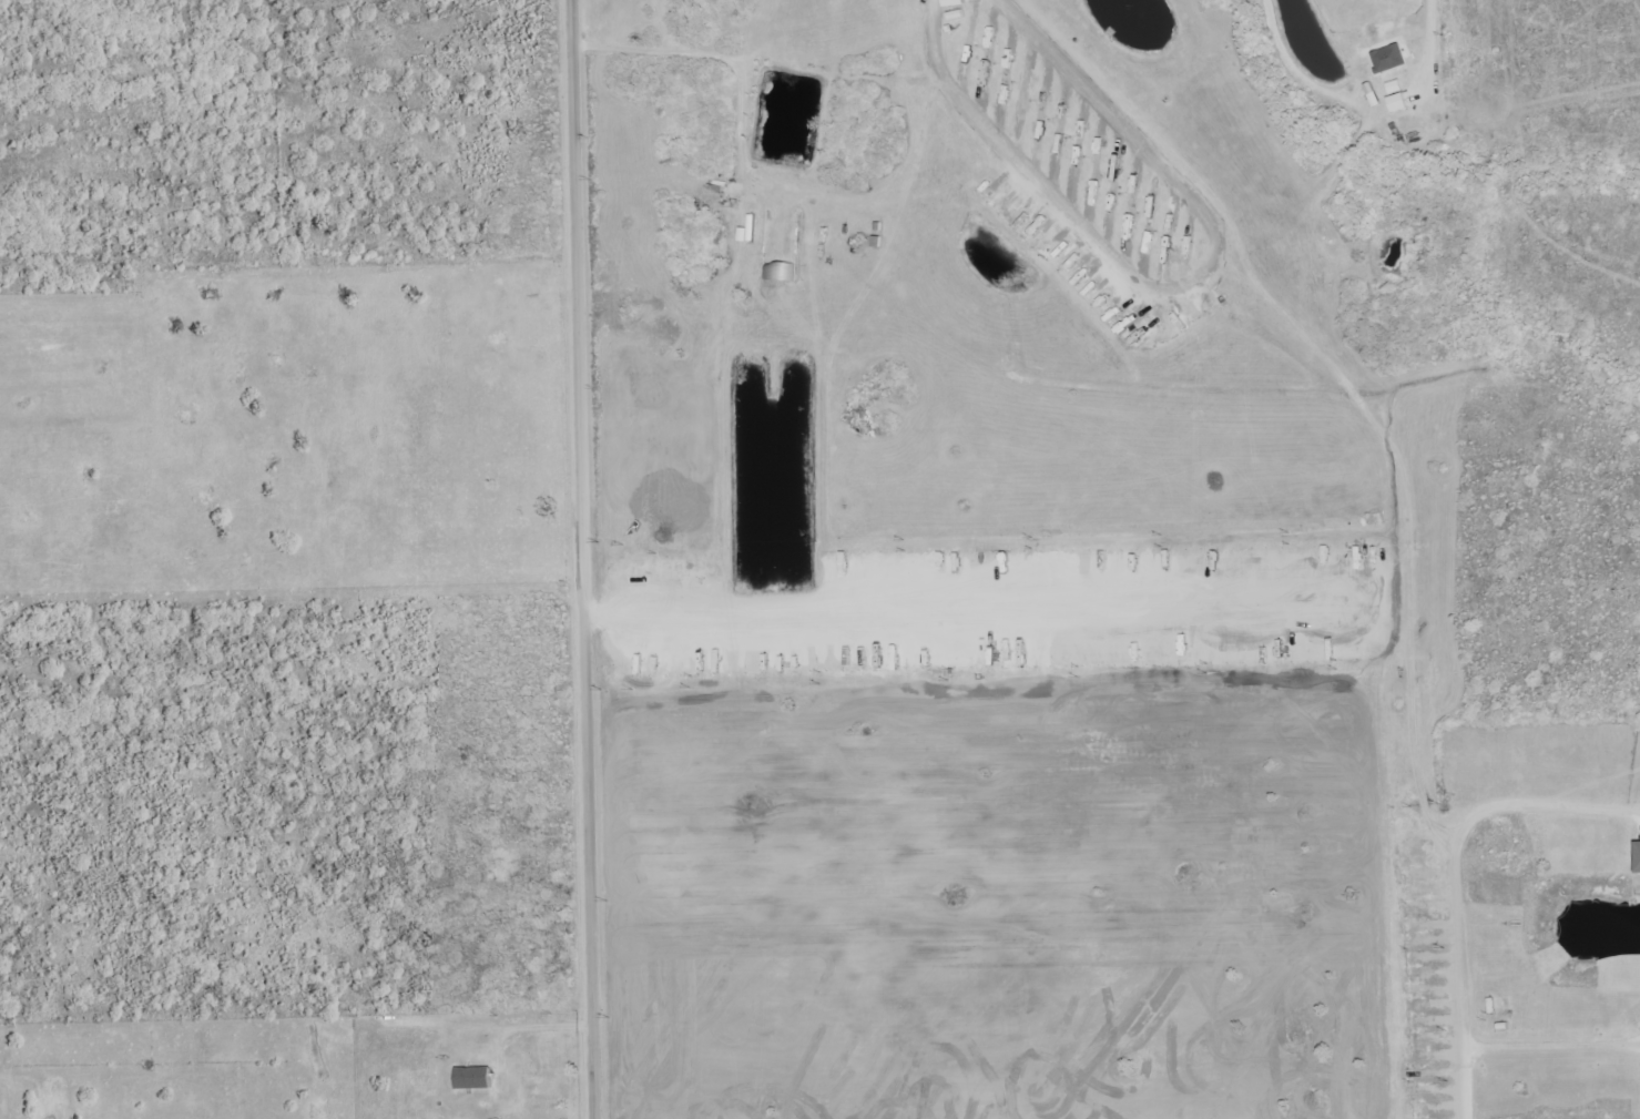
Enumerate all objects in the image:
building: (953, 3)
building: (1389, 59)
building: (1394, 88)
building: (1397, 103)
building: (778, 273)
road: (585, 559)
building: (1639, 855)
road: (1456, 881)
road: (1550, 1047)
building: (473, 1079)

